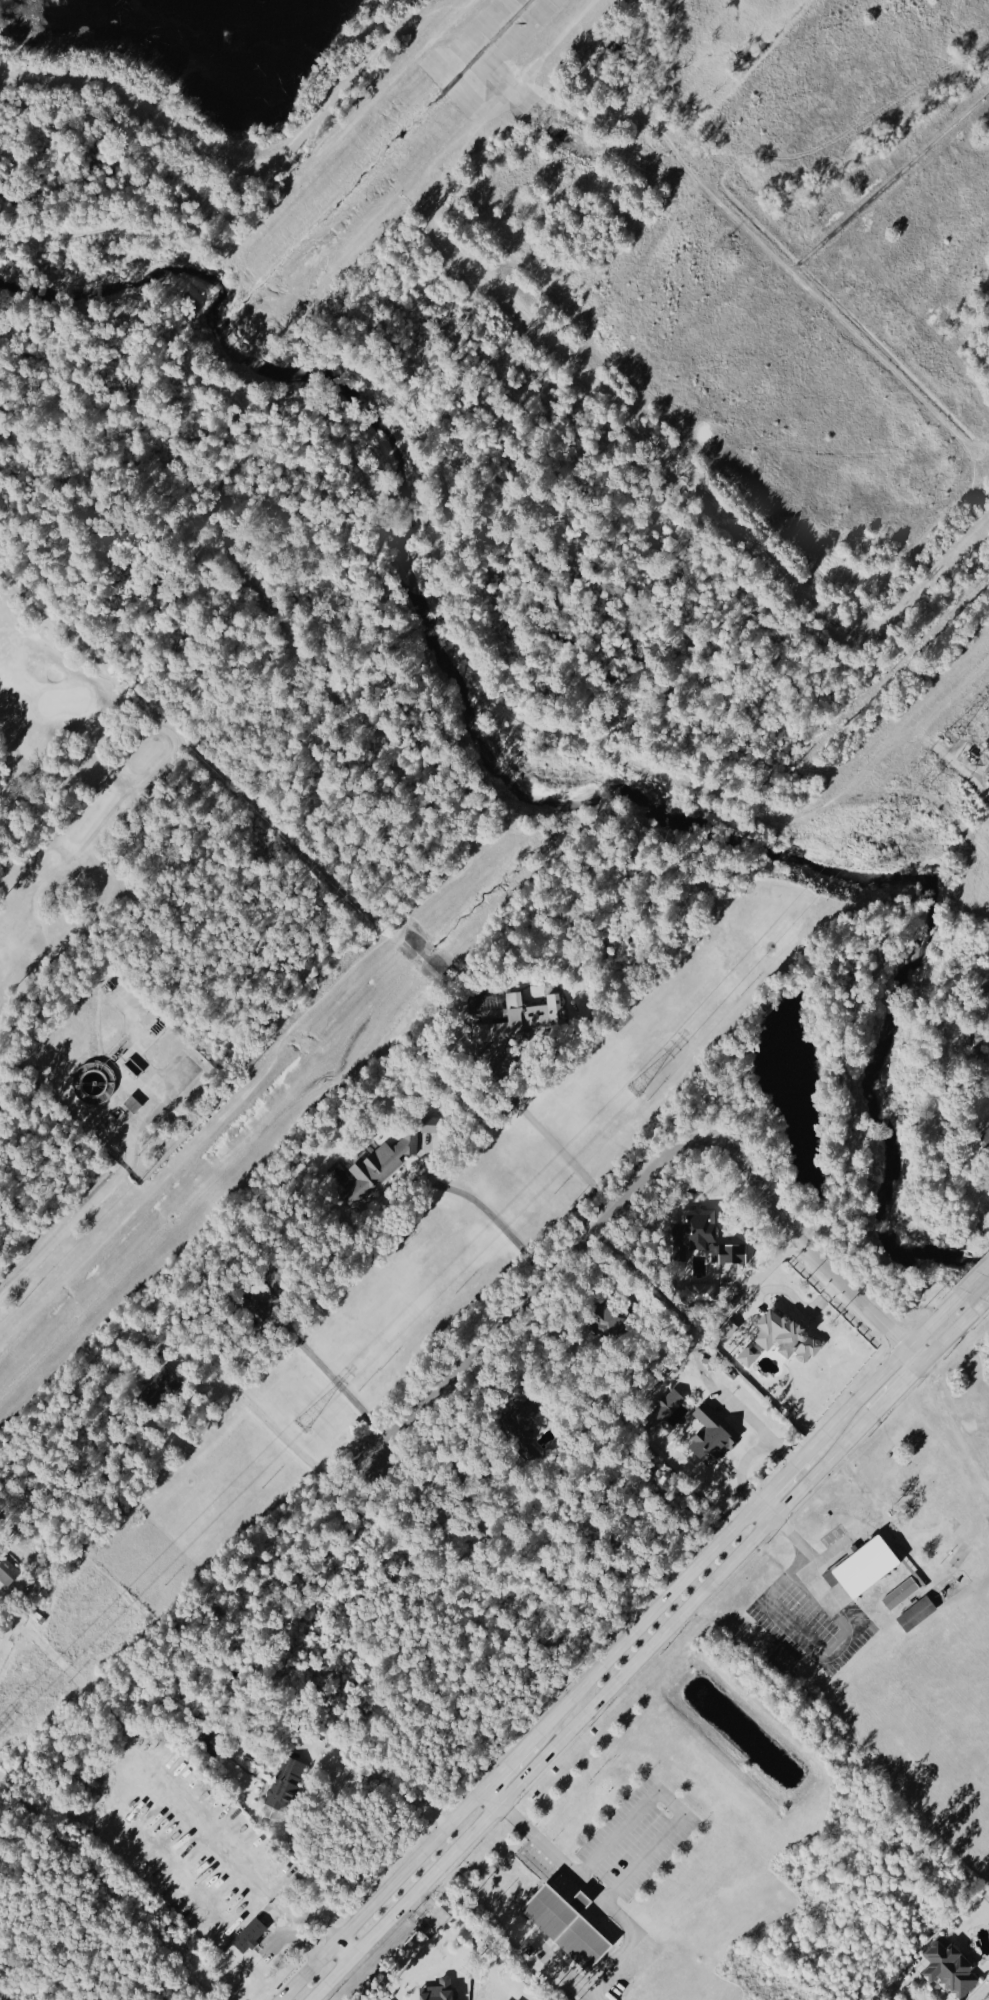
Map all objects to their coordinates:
road: (349, 79)
road: (156, 110)
road: (641, 135)
road: (626, 150)
road: (269, 212)
road: (751, 233)
road: (671, 460)
road: (435, 546)
power tower: (948, 743)
river: (563, 780)
road: (144, 783)
road: (941, 804)
park: (64, 805)
building: (519, 1022)
road: (0, 1048)
wastewater plant: (125, 1075)
power tower: (637, 1094)
building: (433, 1128)
road: (551, 1141)
road: (130, 1151)
building: (373, 1172)
road: (639, 1181)
road: (361, 1199)
road: (976, 1277)
building: (705, 1295)
road: (987, 1298)
building: (619, 1331)
road: (955, 1331)
building: (788, 1340)
road: (326, 1371)
road: (882, 1373)
road: (898, 1388)
road: (955, 1426)
road: (272, 1427)
power tower: (302, 1428)
building: (714, 1439)
road: (780, 1479)
building: (898, 1491)
building: (940, 1509)
road: (907, 1527)
road: (928, 1528)
road: (790, 1532)
road: (896, 1554)
building: (864, 1568)
building: (8, 1575)
building: (905, 1594)
parking lot: (774, 1604)
building: (918, 1615)
road: (643, 1621)
road: (849, 1628)
building: (781, 1662)
road: (591, 1707)
road: (506, 1764)
road: (387, 1782)
building: (285, 1786)
road: (492, 1795)
road: (673, 1799)
parking lot: (638, 1837)
road: (247, 1874)
road: (109, 1892)
road: (381, 1894)
road: (596, 1894)
road: (580, 1901)
building: (585, 1903)
road: (319, 1922)
building: (571, 1929)
building: (251, 1937)
road: (300, 1944)
road: (346, 1946)
building: (952, 1970)
road: (566, 1971)
building: (441, 1991)
road: (1, 1998)

